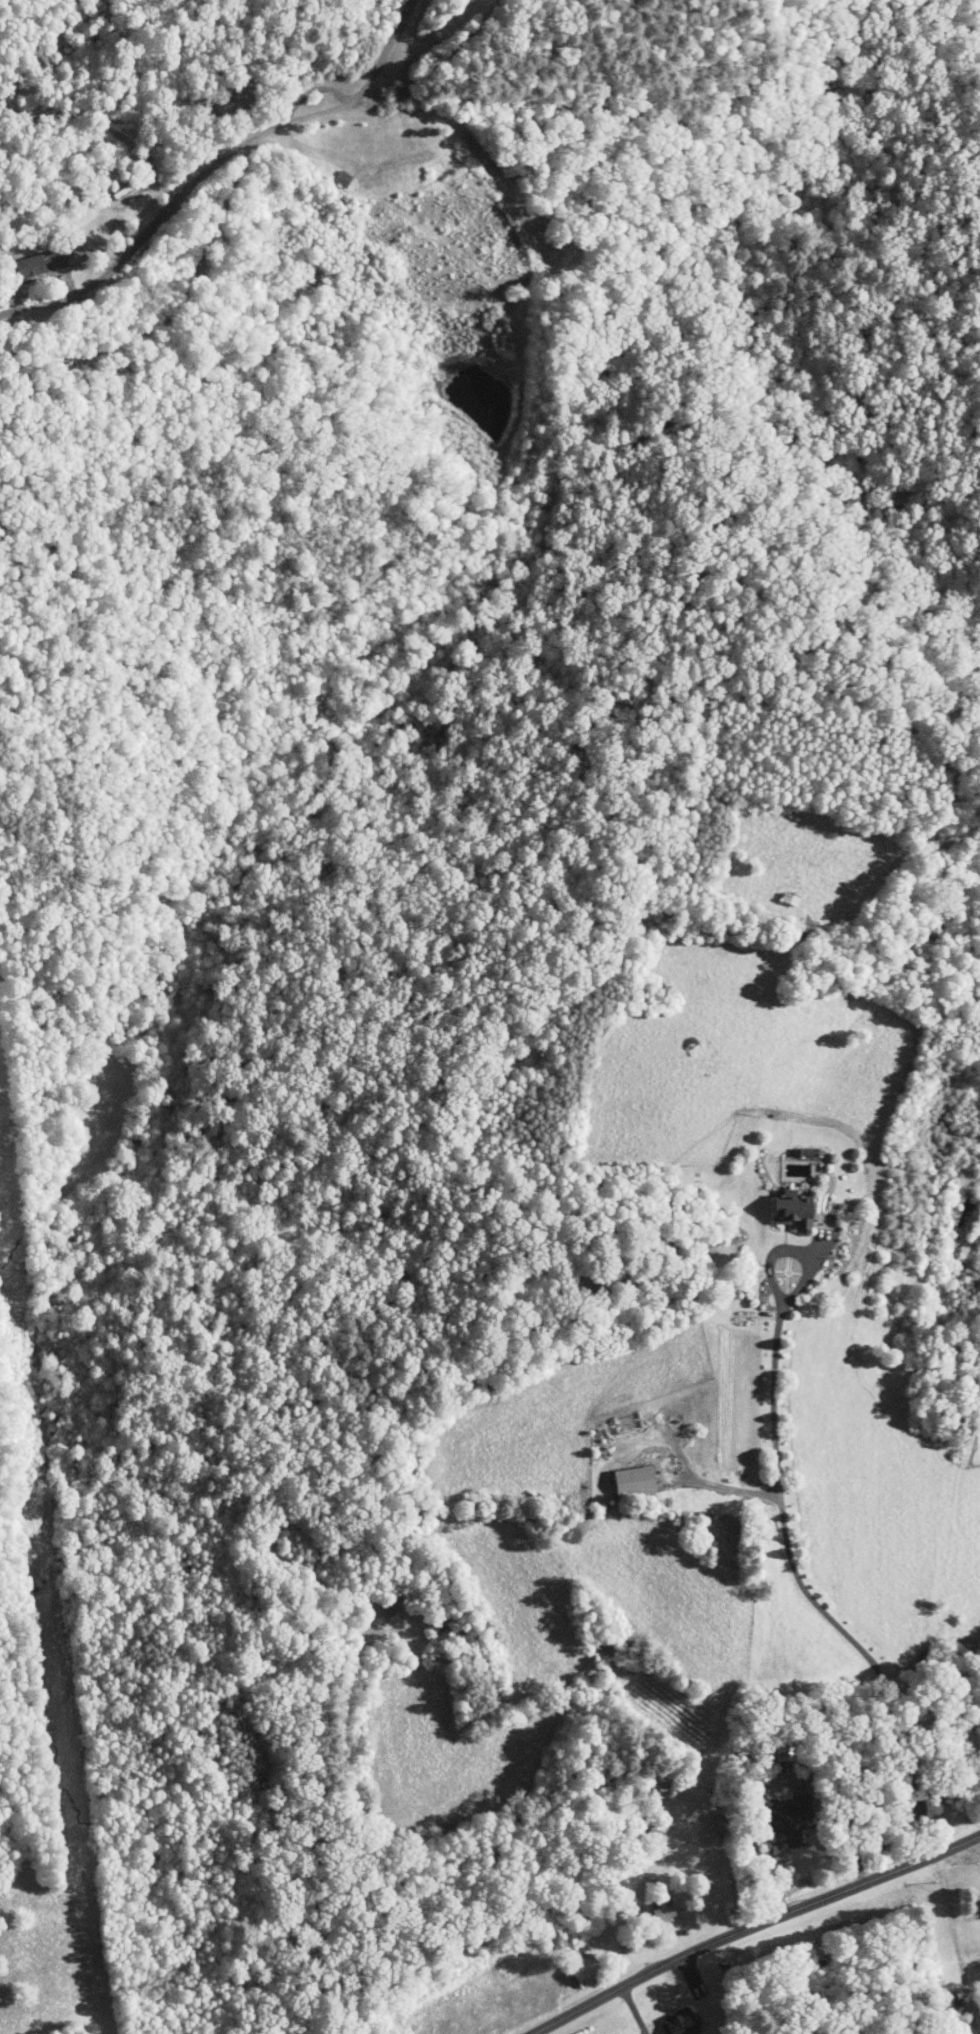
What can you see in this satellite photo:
road: (370, 49)
road: (244, 129)
building: (28, 256)
building: (778, 1203)
building: (619, 1473)
road: (717, 1485)
road: (784, 1525)
building: (916, 1800)
building: (777, 1815)
building: (973, 1898)
building: (648, 1902)
road: (753, 1926)
building: (570, 1964)
building: (665, 2018)

